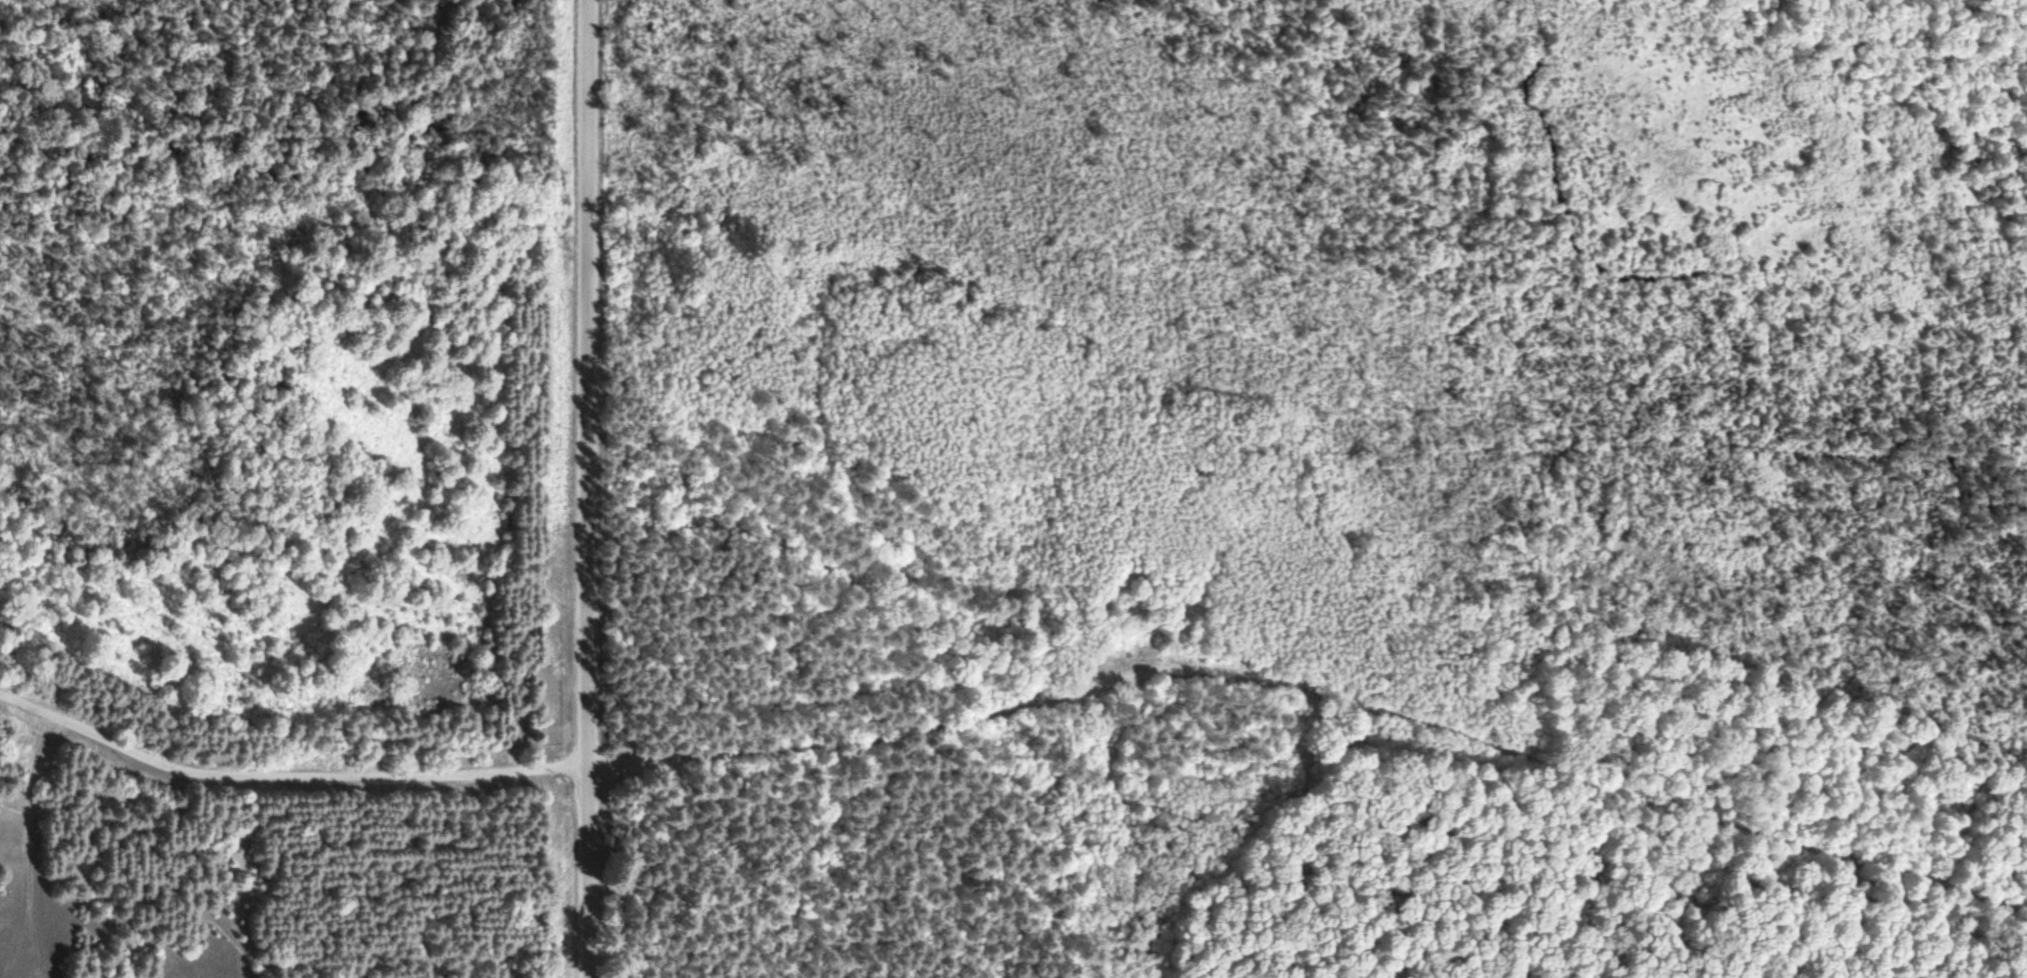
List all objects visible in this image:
road: (584, 489)
road: (798, 545)
road: (1022, 707)

